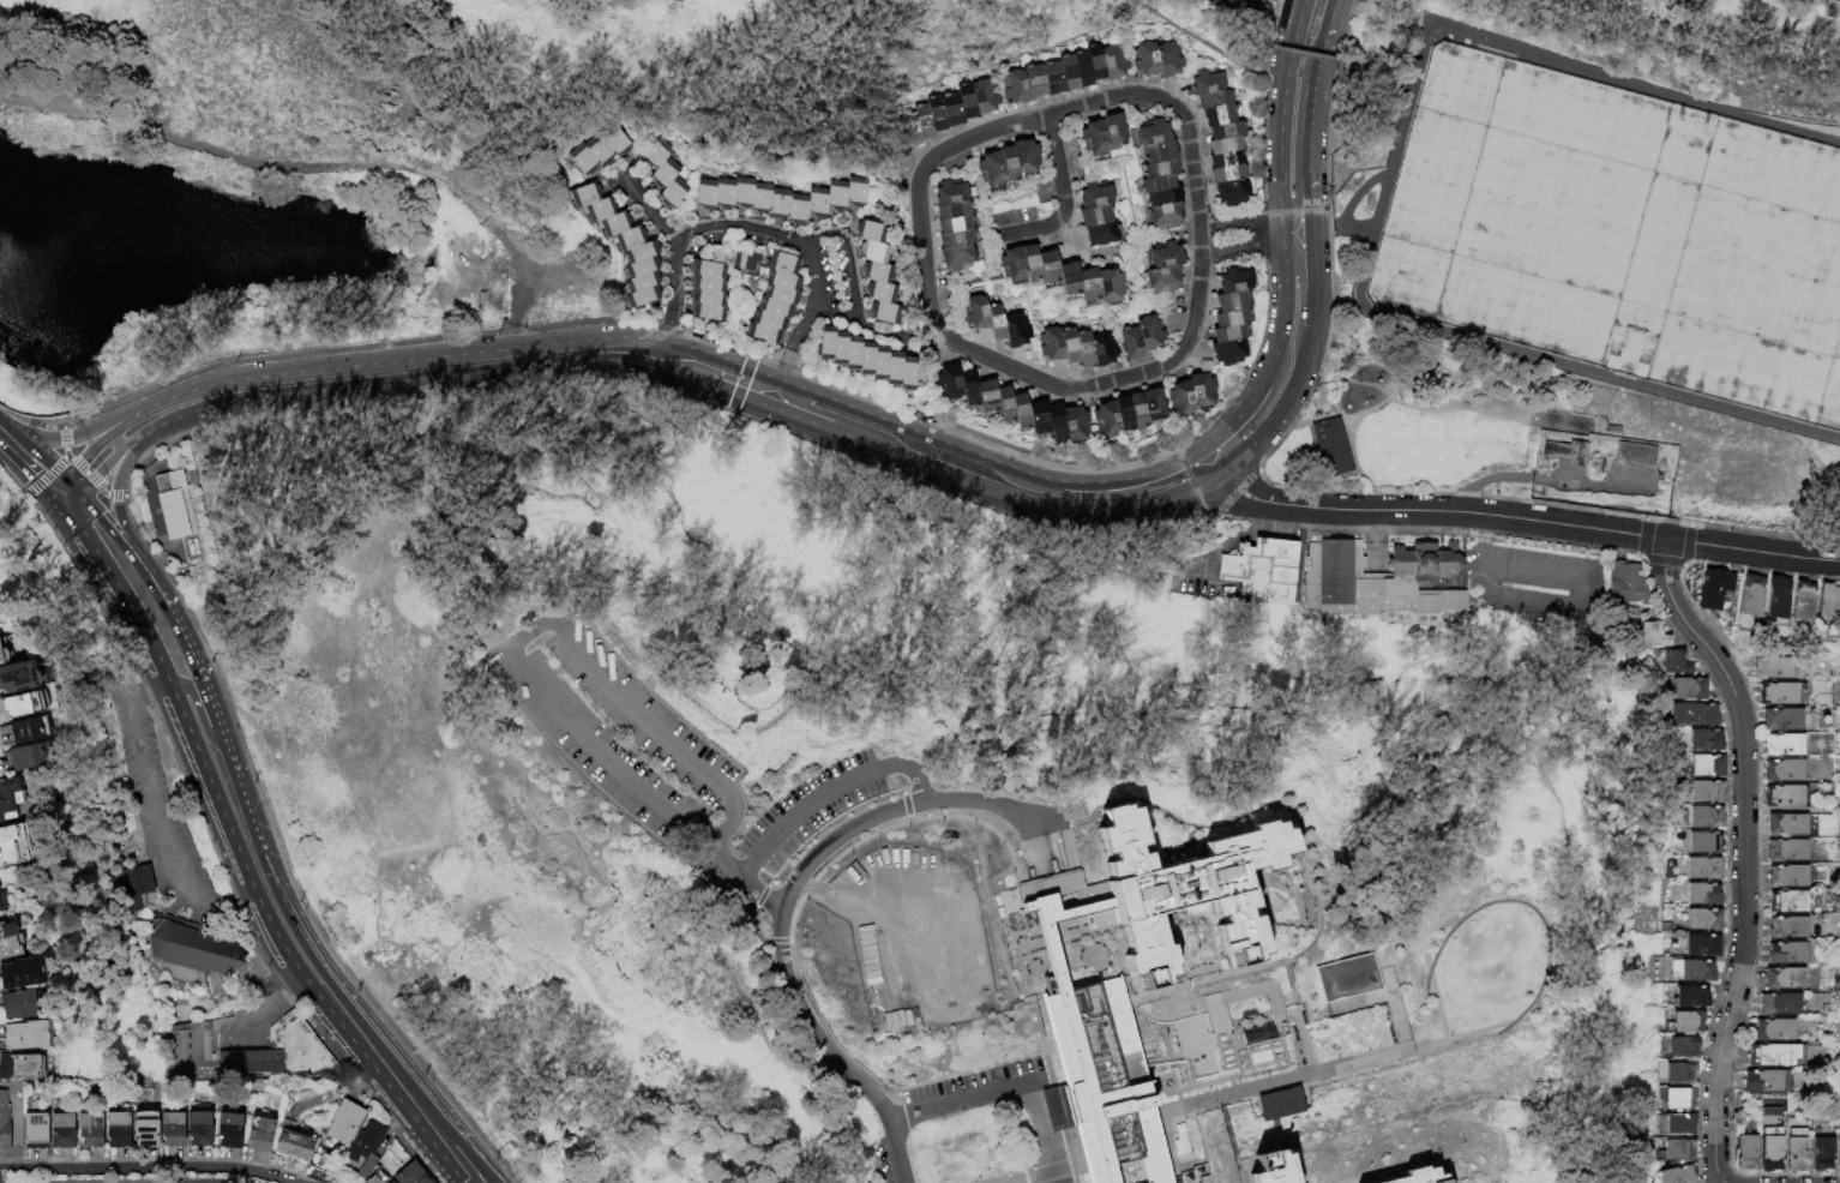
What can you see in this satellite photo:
building: (1835, 1)
road: (1300, 8)
road: (1282, 14)
road: (1341, 20)
road: (1451, 31)
road: (1323, 32)
road: (1208, 44)
road: (1301, 53)
building: (1143, 61)
building: (1166, 61)
building: (1095, 65)
building: (1112, 65)
building: (1082, 71)
building: (1068, 76)
building: (1052, 80)
building: (1033, 84)
building: (1205, 85)
building: (1014, 89)
building: (982, 100)
road: (1263, 101)
building: (1213, 102)
building: (966, 103)
building: (950, 113)
road: (1045, 114)
building: (934, 116)
building: (1217, 118)
road: (1760, 121)
building: (922, 125)
road: (1280, 125)
road: (1307, 126)
building: (904, 131)
building: (1225, 133)
building: (1112, 134)
building: (1151, 137)
building: (1093, 139)
building: (617, 143)
building: (1223, 148)
building: (600, 152)
building: (655, 155)
building: (1157, 155)
building: (1024, 158)
building: (583, 161)
building: (1225, 162)
road: (303, 166)
building: (1008, 166)
building: (990, 170)
building: (1157, 172)
building: (663, 174)
building: (1226, 176)
building: (1155, 186)
traffic signals: (1307, 188)
building: (672, 193)
building: (1229, 193)
building: (855, 196)
building: (949, 196)
building: (582, 197)
building: (741, 197)
building: (703, 198)
building: (722, 198)
building: (835, 199)
road: (1062, 199)
building: (1094, 199)
building: (1162, 199)
building: (759, 202)
building: (816, 206)
building: (777, 208)
road: (1307, 208)
building: (594, 211)
road: (653, 211)
road: (1297, 212)
building: (795, 214)
building: (951, 214)
building: (1162, 218)
building: (1093, 220)
road: (1243, 220)
building: (609, 226)
building: (952, 228)
road: (1328, 228)
road: (690, 229)
road: (1262, 232)
building: (870, 233)
road: (818, 234)
building: (1100, 238)
building: (624, 239)
road: (1282, 240)
building: (955, 241)
road: (1328, 244)
road: (1240, 245)
road: (1310, 250)
road: (1297, 252)
building: (637, 253)
building: (873, 253)
building: (1163, 258)
building: (774, 260)
building: (956, 260)
building: (744, 262)
building: (1029, 265)
building: (704, 266)
building: (1011, 266)
building: (637, 269)
building: (1047, 270)
road: (811, 274)
building: (877, 274)
building: (776, 278)
building: (704, 281)
building: (1069, 281)
building: (1160, 282)
building: (638, 283)
building: (1233, 283)
building: (1088, 287)
building: (1108, 288)
road: (854, 292)
building: (777, 293)
building: (880, 293)
building: (703, 295)
building: (638, 299)
road: (1312, 299)
building: (1229, 304)
building: (770, 306)
building: (704, 311)
building: (884, 313)
building: (975, 316)
building: (763, 318)
road: (1282, 318)
building: (1229, 322)
building: (994, 324)
building: (758, 331)
building: (1014, 332)
building: (1148, 335)
road: (512, 336)
building: (1227, 336)
building: (824, 342)
road: (793, 344)
building: (1129, 346)
building: (837, 347)
building: (1050, 347)
building: (1068, 347)
building: (852, 350)
building: (1083, 350)
building: (1101, 352)
building: (1226, 354)
building: (865, 356)
road: (409, 359)
road: (724, 359)
building: (878, 361)
road: (1561, 362)
building: (892, 367)
building: (904, 371)
road: (741, 378)
road: (421, 379)
building: (949, 384)
road: (1098, 385)
road: (663, 386)
road: (757, 386)
road: (721, 389)
building: (968, 391)
building: (1201, 392)
building: (985, 398)
road: (793, 400)
building: (1180, 400)
road: (770, 406)
building: (1004, 407)
road: (1245, 407)
building: (1153, 408)
road: (1277, 408)
building: (1136, 413)
building: (1018, 414)
road: (933, 416)
building: (1123, 416)
park: (1425, 416)
building: (1036, 420)
traffic signals: (1, 421)
road: (29, 421)
building: (1105, 421)
building: (1054, 425)
road: (61, 426)
building: (1074, 426)
road: (77, 434)
road: (106, 437)
road: (64, 442)
building: (1330, 445)
road: (34, 449)
road: (1223, 449)
road: (964, 450)
road: (1193, 451)
building: (1567, 451)
building: (1635, 455)
road: (72, 461)
road: (110, 467)
road: (24, 469)
road: (1187, 473)
road: (1538, 475)
road: (13, 479)
traffic signals: (67, 480)
road: (74, 488)
road: (59, 490)
road: (1237, 493)
road: (576, 494)
road: (1010, 494)
traffic signals: (82, 497)
traffic signals: (50, 499)
road: (337, 503)
road: (72, 505)
road: (56, 506)
road: (1347, 510)
building: (175, 511)
traffic signals: (64, 515)
road: (120, 523)
road: (1576, 527)
road: (1238, 536)
road: (1483, 540)
road: (124, 550)
road: (92, 551)
road: (1752, 553)
building: (1209, 564)
building: (1259, 570)
road: (1193, 572)
building: (1624, 583)
building: (1360, 584)
building: (1714, 589)
road: (88, 590)
building: (1751, 595)
building: (1778, 597)
road: (1580, 601)
building: (1803, 601)
building: (1828, 602)
building: (1839, 613)
road: (211, 631)
building: (1652, 636)
road: (184, 638)
road: (567, 642)
building: (4, 650)
road: (216, 659)
building: (0, 663)
building: (1673, 663)
building: (1773, 669)
building: (18, 675)
road: (154, 687)
building: (1688, 689)
road: (140, 695)
building: (1778, 695)
building: (28, 703)
road: (194, 703)
road: (783, 709)
road: (1349, 715)
building: (1692, 715)
building: (1782, 721)
building: (26, 729)
road: (223, 737)
parking lot: (629, 739)
building: (1704, 740)
building: (1782, 746)
building: (25, 756)
road: (892, 767)
building: (1707, 767)
building: (1784, 771)
road: (915, 781)
building: (1698, 792)
road: (188, 793)
building: (8, 794)
building: (1786, 798)
parking lot: (157, 807)
road: (802, 810)
road: (896, 810)
building: (1706, 817)
parking lot: (804, 818)
building: (1787, 825)
road: (257, 835)
building: (1704, 843)
building: (11, 845)
building: (1786, 852)
road: (1745, 853)
road: (283, 859)
building: (1703, 869)
road: (374, 875)
building: (1787, 877)
building: (132, 889)
road: (221, 893)
road: (243, 895)
building: (1179, 895)
building: (1702, 895)
building: (1788, 902)
road: (261, 906)
building: (0, 908)
building: (1703, 920)
road: (1543, 926)
building: (1788, 929)
building: (10, 941)
road: (305, 943)
road: (513, 943)
building: (1702, 945)
building: (192, 948)
road: (254, 948)
building: (1787, 954)
road: (613, 960)
building: (1692, 972)
building: (22, 973)
building: (1347, 979)
building: (1784, 980)
road: (296, 989)
building: (1690, 997)
road: (1437, 1001)
building: (18, 1004)
building: (1779, 1005)
building: (1214, 1007)
road: (269, 1010)
building: (1686, 1022)
parking lot: (243, 1029)
road: (235, 1031)
building: (1774, 1031)
building: (25, 1034)
building: (1678, 1049)
road: (828, 1051)
building: (249, 1052)
building: (1773, 1056)
road: (396, 1057)
building: (16, 1069)
building: (1679, 1074)
road: (1299, 1076)
building: (1102, 1082)
building: (1763, 1082)
road: (362, 1089)
parking lot: (974, 1089)
road: (957, 1098)
building: (1678, 1099)
building: (1277, 1105)
road: (449, 1119)
building: (2, 1122)
building: (343, 1122)
building: (1674, 1124)
road: (1040, 1127)
building: (89, 1129)
building: (116, 1129)
building: (143, 1129)
building: (170, 1129)
building: (198, 1129)
building: (227, 1129)
building: (34, 1130)
building: (61, 1130)
building: (258, 1133)
building: (290, 1142)
building: (365, 1142)
building: (1668, 1151)
building: (1746, 1152)
building: (1770, 1154)
building: (1822, 1154)
building: (1797, 1155)
building: (1838, 1157)
road: (480, 1159)
building: (1267, 1167)
road: (146, 1169)
road: (1063, 1171)
building: (409, 1173)
building: (1409, 1175)
building: (1677, 1176)
road: (1029, 1178)
road: (1048, 1178)
building: (373, 1179)
building: (386, 1182)

